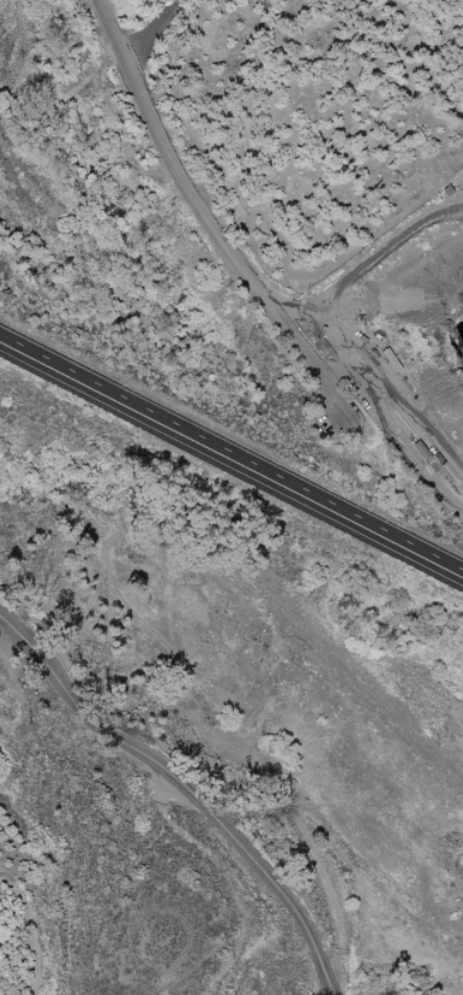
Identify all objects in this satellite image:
road: (154, 29)
road: (200, 214)
quarry: (408, 318)
road: (233, 447)
road: (185, 790)

